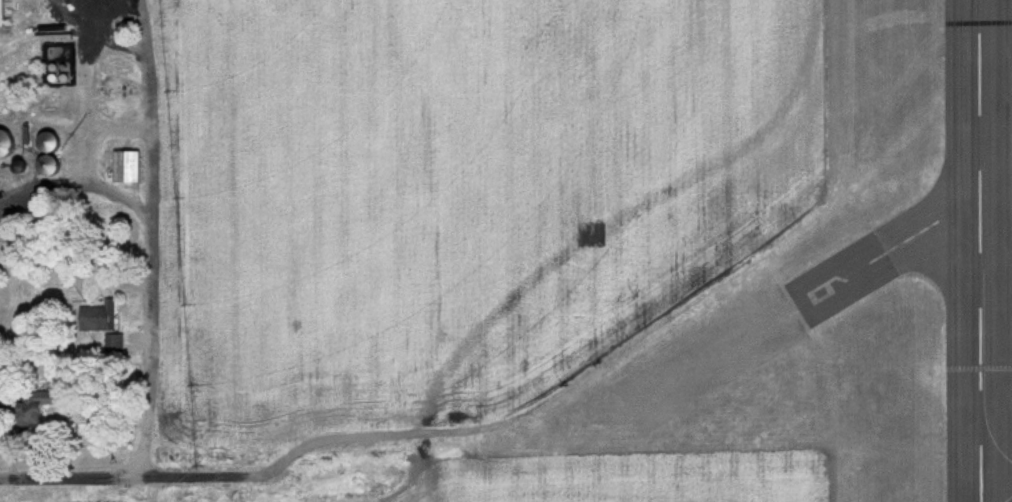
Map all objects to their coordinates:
building: (3, 13)
building: (54, 143)
building: (54, 167)
building: (129, 172)
road: (76, 182)
crop: (458, 190)
road: (151, 239)
airport runway: (905, 242)
airport runway: (984, 250)
building: (99, 319)
building: (114, 344)
building: (38, 407)
airport taxiway: (995, 442)
road: (210, 478)
airport taxiway: (1010, 500)

